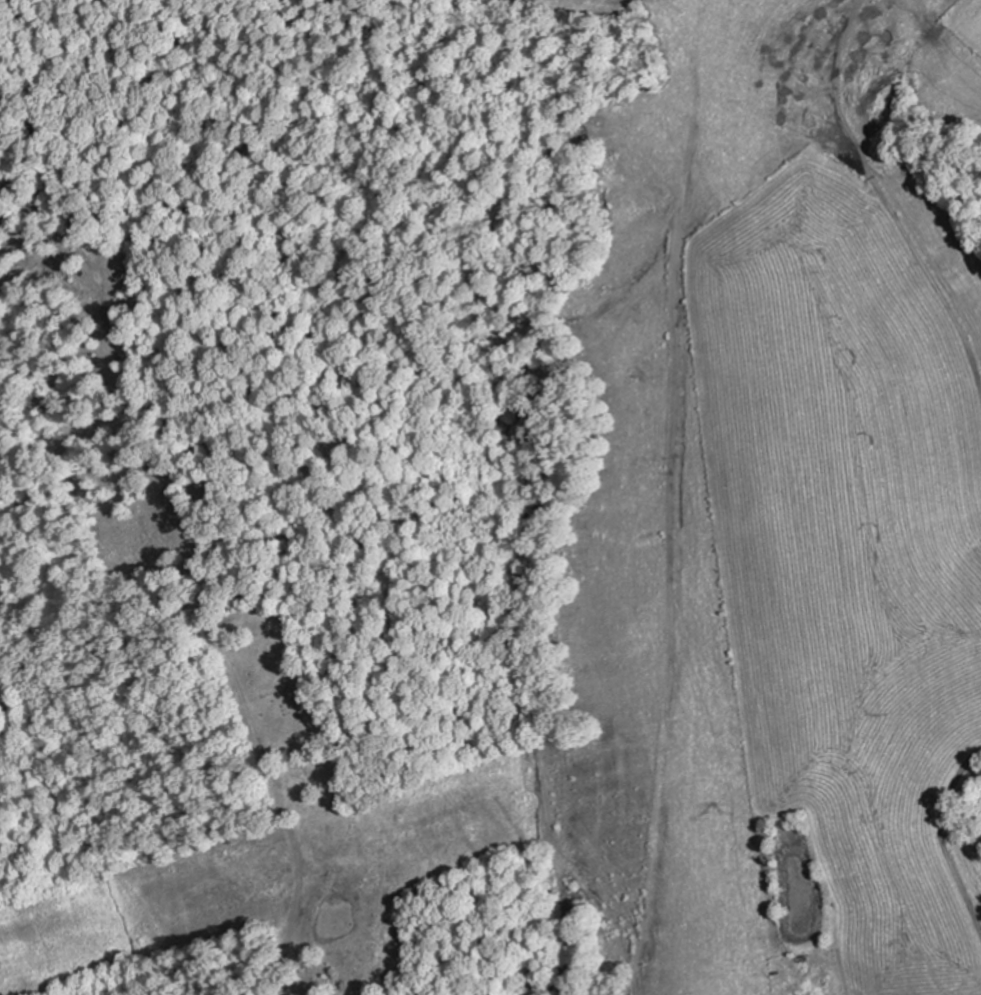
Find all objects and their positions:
building: (528, 989)

